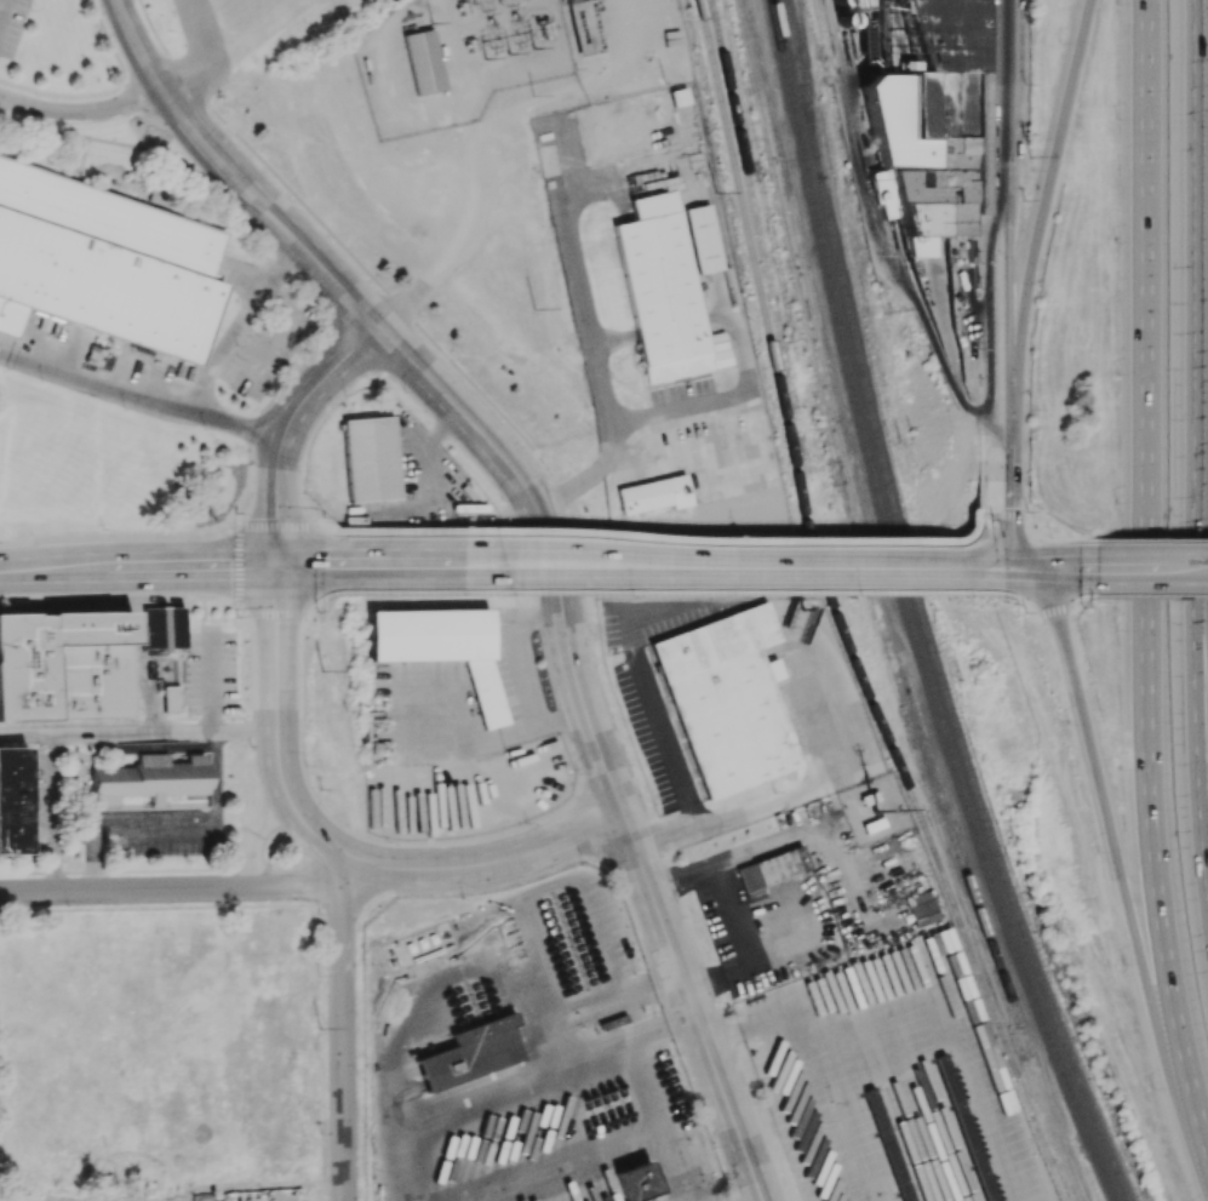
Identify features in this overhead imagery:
building: (569, 0)
road: (1, 5)
railway: (823, 24)
road: (254, 30)
road: (108, 39)
railway: (700, 52)
power substation: (459, 58)
building: (424, 61)
railway: (809, 86)
road: (137, 96)
road: (133, 97)
building: (938, 120)
road: (231, 176)
road: (1006, 183)
road: (1047, 183)
building: (704, 238)
road: (1198, 252)
building: (104, 263)
railway: (771, 280)
railway: (783, 280)
building: (664, 292)
road: (580, 293)
road: (239, 322)
road: (922, 325)
road: (6, 353)
road: (328, 374)
road: (149, 393)
road: (274, 395)
road: (632, 435)
building: (371, 458)
road: (1009, 468)
building: (654, 494)
road: (277, 501)
railway: (861, 517)
railway: (852, 520)
road: (276, 532)
road: (1001, 532)
road: (972, 536)
road: (1030, 537)
road: (1050, 538)
road: (1139, 539)
road: (319, 544)
road: (649, 545)
road: (1203, 559)
road: (1147, 568)
road: (639, 570)
road: (981, 570)
road: (1047, 570)
traffic signals: (1053, 570)
road: (299, 571)
road: (1031, 571)
traffic signals: (277, 572)
road: (138, 574)
road: (1146, 579)
road: (1147, 596)
road: (1060, 600)
railway: (924, 610)
railway: (910, 611)
railway: (836, 613)
building: (149, 628)
building: (171, 628)
building: (442, 646)
building: (65, 665)
road: (646, 682)
building: (171, 698)
building: (726, 699)
road: (1197, 705)
road: (139, 733)
road: (279, 736)
road: (597, 744)
road: (153, 747)
building: (149, 778)
road: (782, 791)
building: (12, 799)
road: (53, 812)
road: (174, 829)
road: (254, 835)
road: (485, 863)
building: (769, 870)
road: (1117, 873)
road: (170, 888)
building: (922, 908)
building: (928, 945)
road: (619, 990)
road: (658, 1023)
road: (562, 1036)
road: (342, 1039)
road: (602, 1045)
building: (471, 1052)
road: (654, 1119)
building: (636, 1182)

